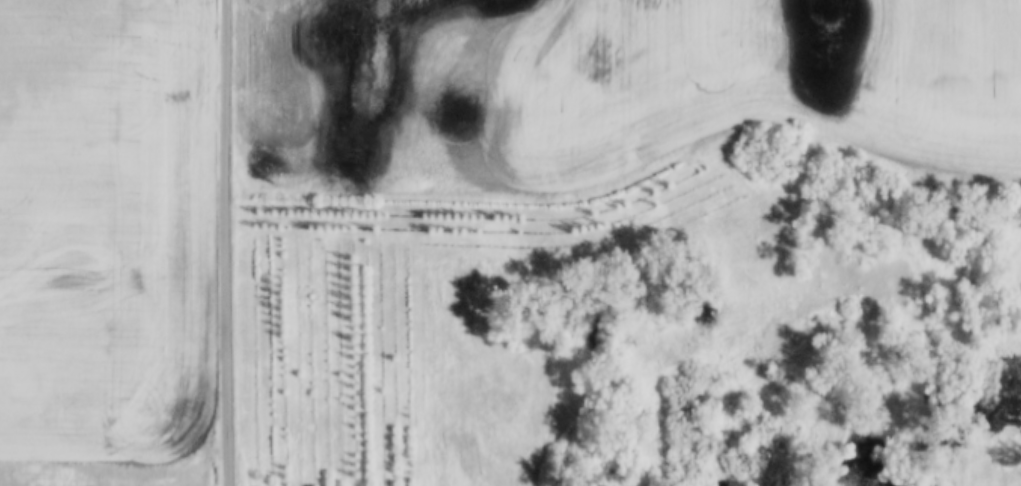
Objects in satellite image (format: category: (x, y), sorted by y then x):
road: (222, 243)

